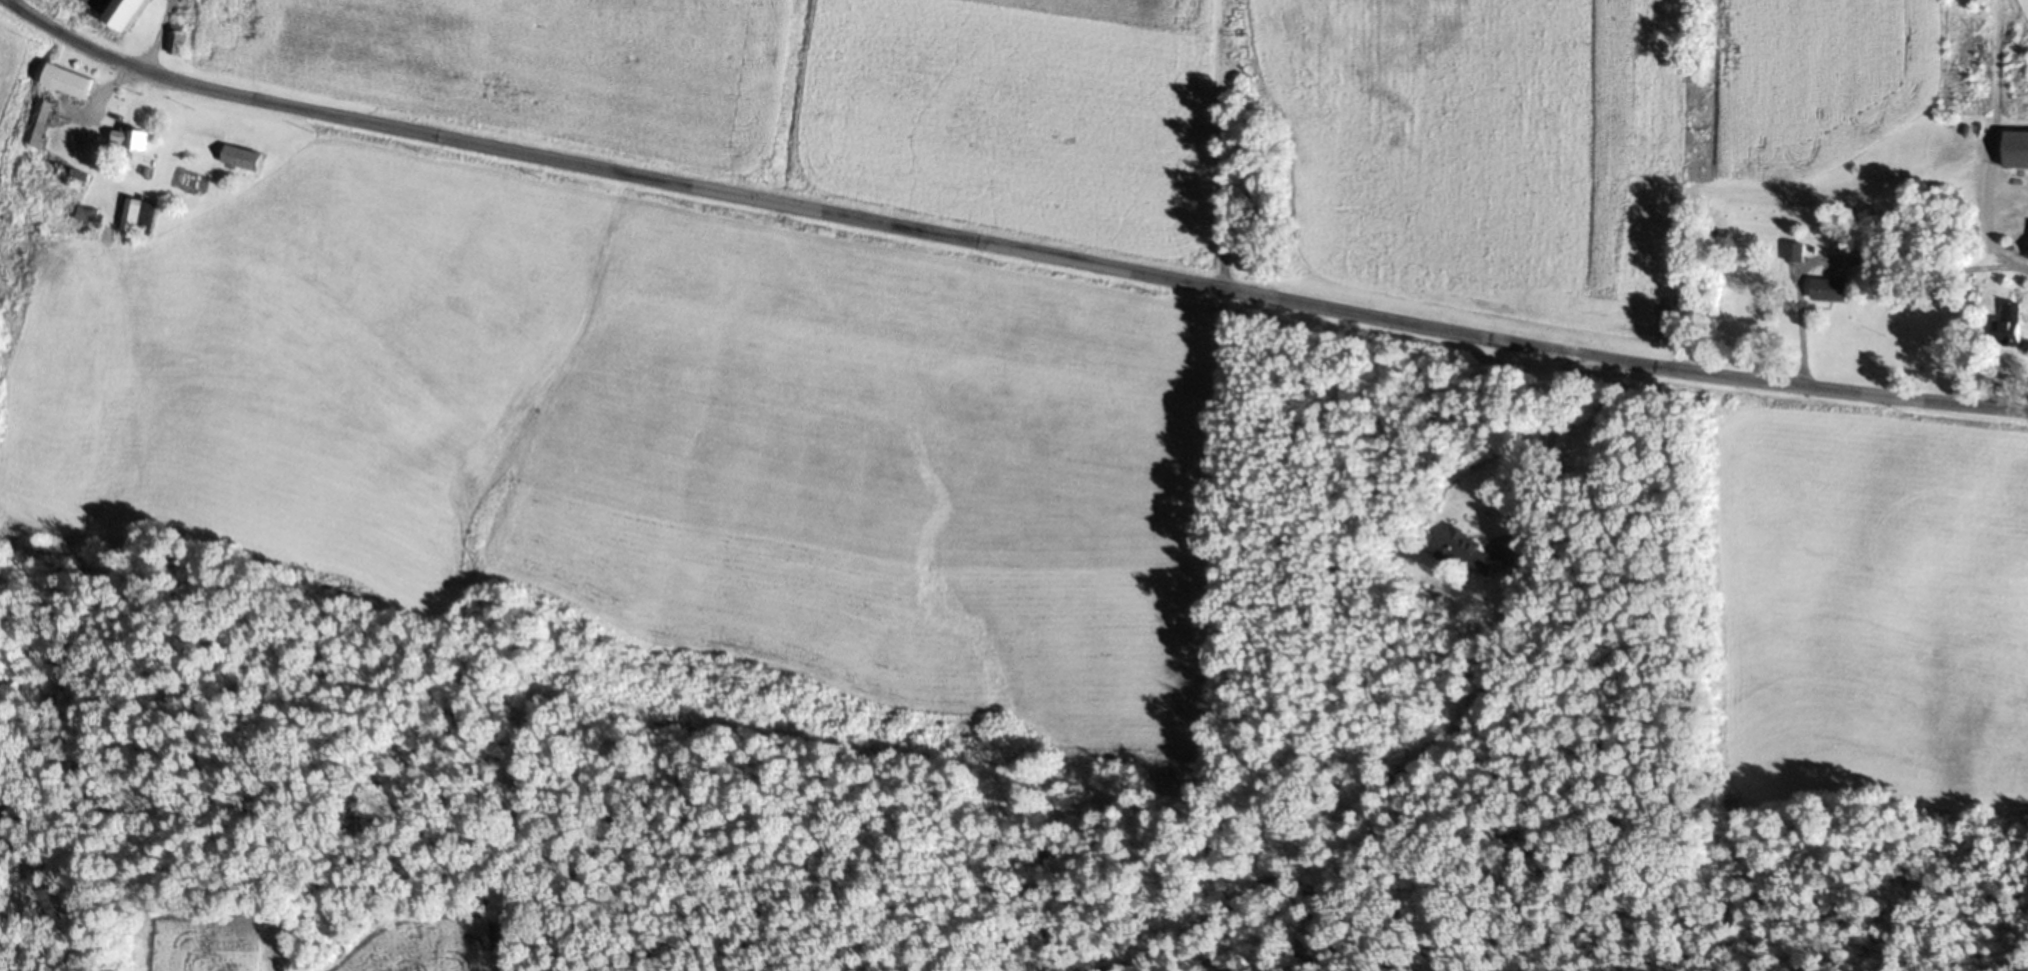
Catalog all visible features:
building: (131, 15)
building: (179, 46)
building: (70, 86)
building: (45, 129)
building: (131, 143)
building: (2019, 154)
building: (242, 162)
building: (90, 219)
road: (1006, 248)
building: (1798, 256)
building: (1835, 294)
building: (2014, 329)
building: (1468, 557)
road: (1446, 755)

